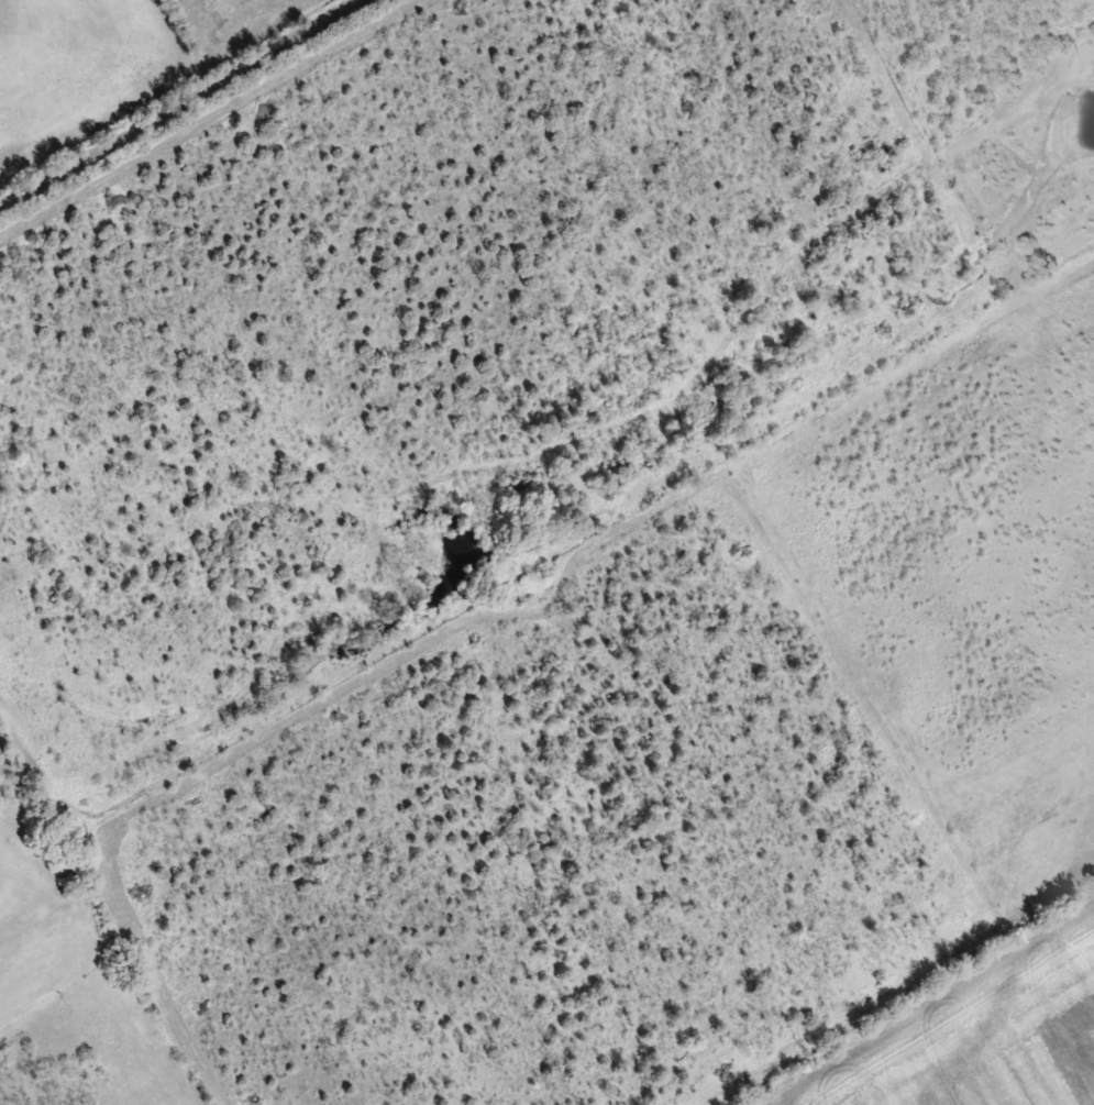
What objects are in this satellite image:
road: (168, 99)

